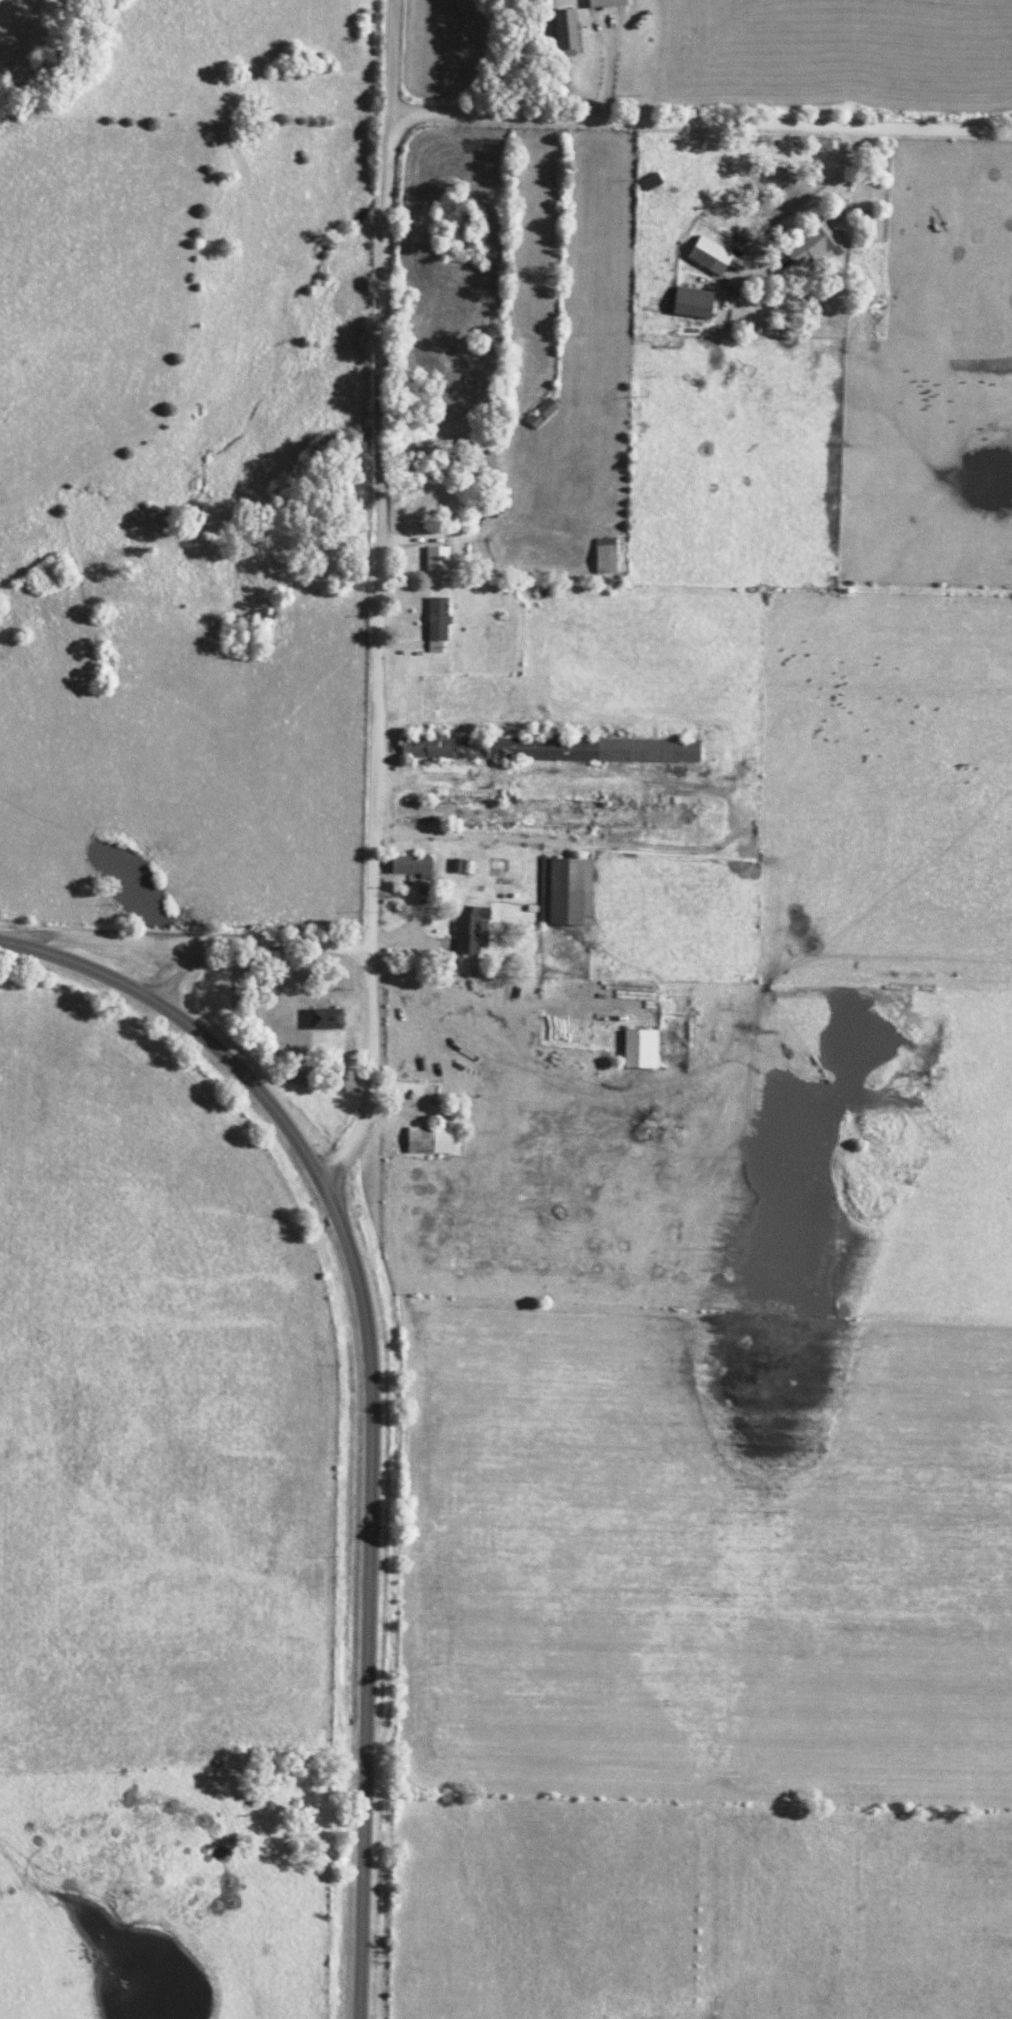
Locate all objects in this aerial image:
building: (605, 2)
building: (564, 32)
road: (703, 124)
building: (815, 245)
building: (708, 255)
building: (691, 302)
building: (604, 555)
building: (436, 558)
road: (382, 599)
building: (436, 623)
building: (549, 748)
road: (467, 837)
building: (410, 865)
building: (564, 891)
building: (470, 929)
road: (261, 957)
building: (324, 1019)
building: (639, 1049)
building: (428, 1140)
road: (377, 1386)

